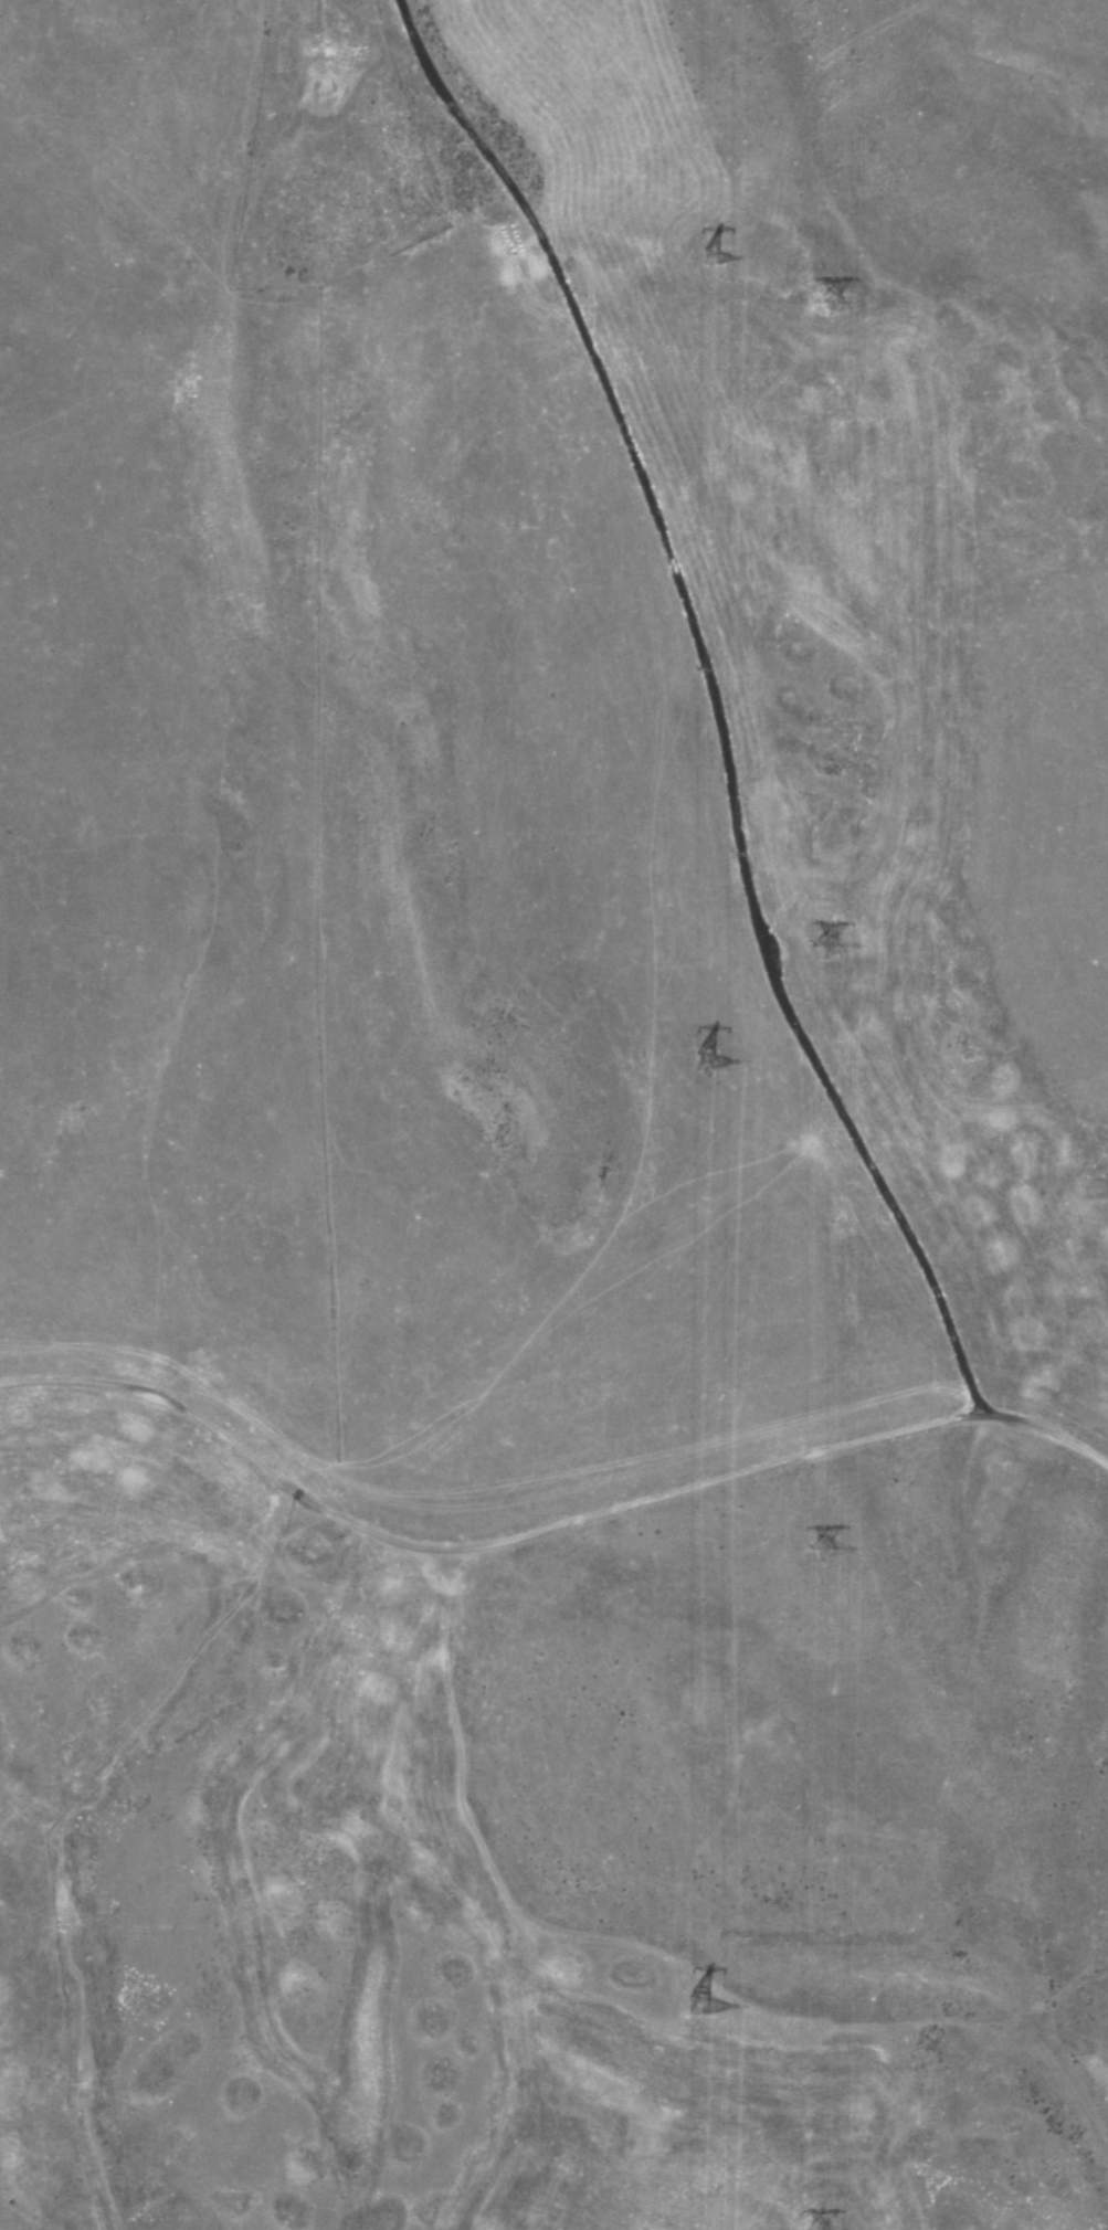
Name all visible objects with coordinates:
power tower: (741, 236)
power tower: (845, 309)
power tower: (836, 945)
power tower: (728, 1054)
power tower: (840, 1532)
power tower: (732, 1997)

